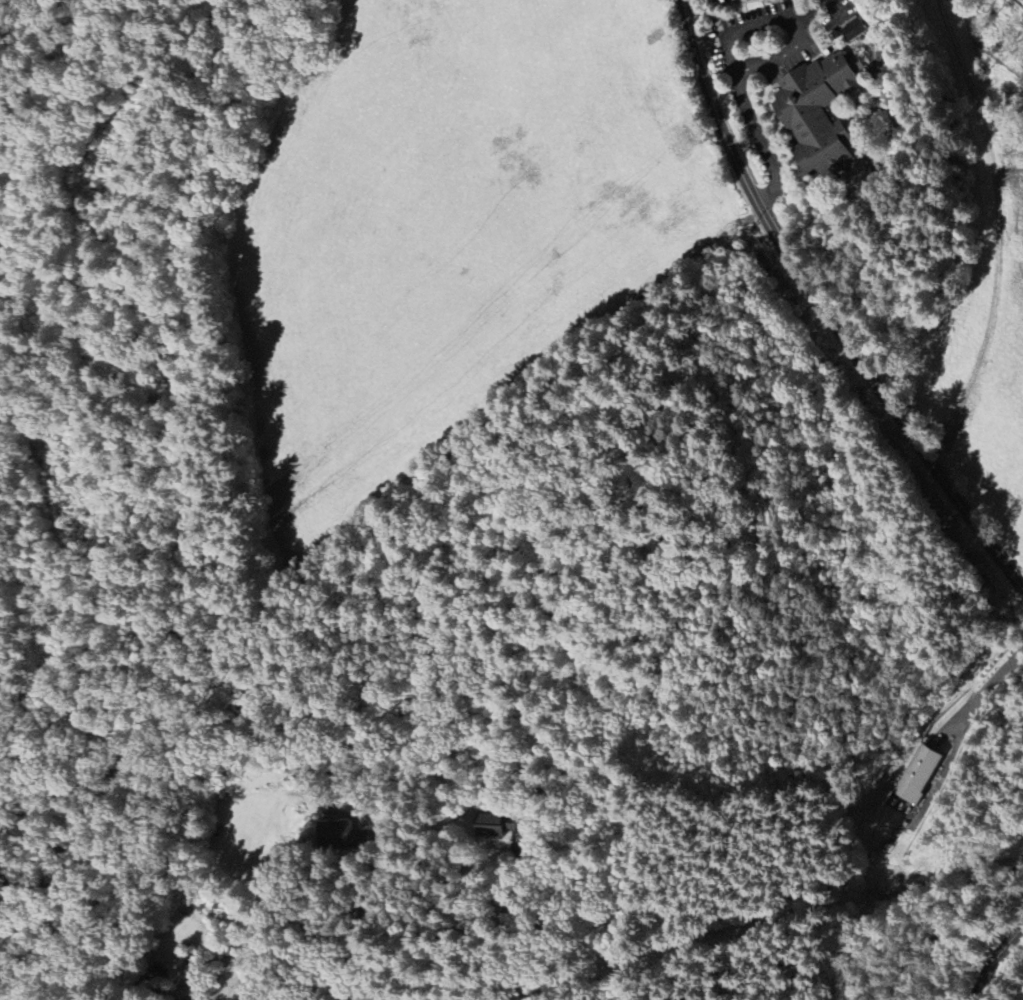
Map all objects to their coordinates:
road: (835, 7)
road: (813, 13)
building: (854, 30)
road: (797, 32)
building: (817, 112)
road: (750, 122)
road: (173, 178)
crop: (442, 228)
road: (84, 293)
road: (822, 310)
road: (366, 518)
road: (516, 583)
road: (680, 643)
road: (979, 698)
building: (920, 774)
building: (492, 825)
building: (342, 832)
road: (376, 878)
road: (996, 957)

